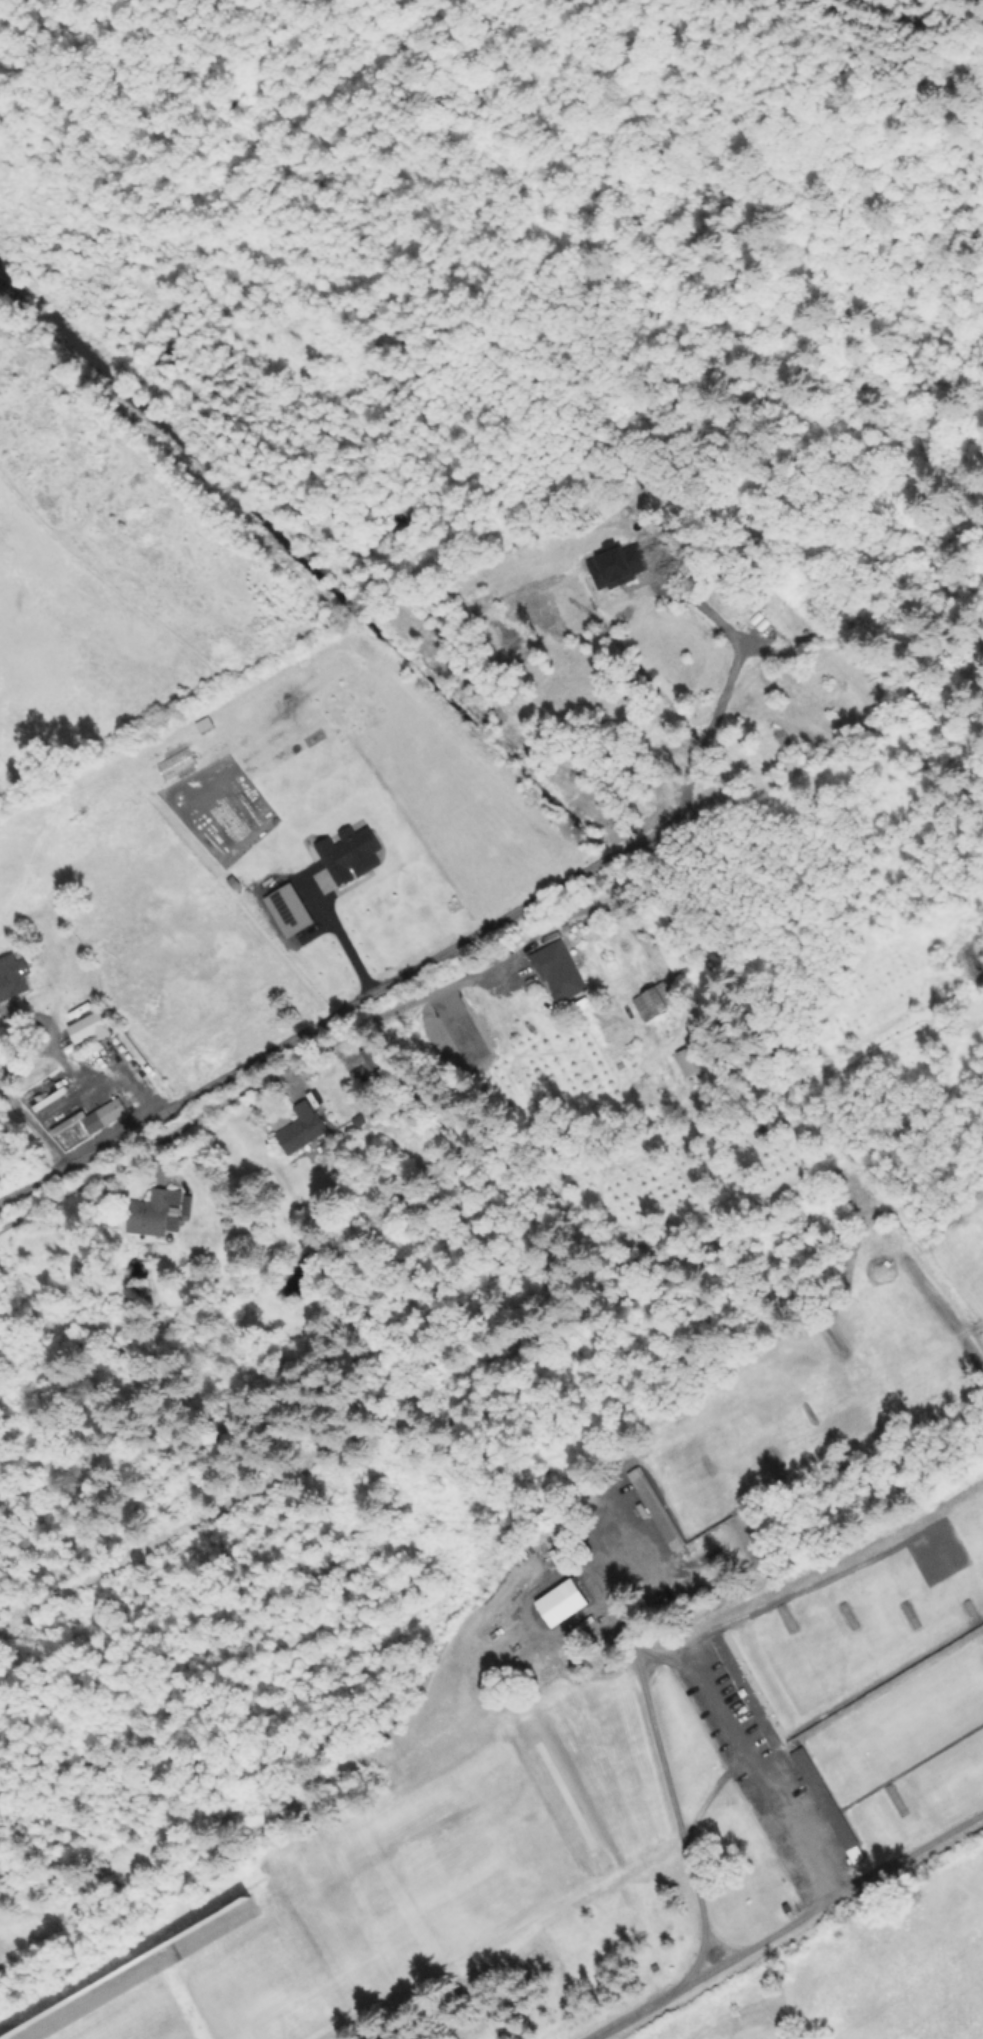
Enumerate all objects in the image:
road: (724, 697)
building: (560, 937)
road: (343, 946)
building: (674, 955)
building: (12, 978)
building: (562, 978)
building: (656, 1006)
road: (339, 1040)
building: (374, 1057)
road: (62, 1058)
building: (690, 1061)
road: (132, 1082)
building: (362, 1120)
building: (95, 1123)
building: (303, 1128)
building: (188, 1205)
building: (156, 1212)
building: (653, 1509)
building: (639, 1521)
road: (603, 1583)
building: (560, 1604)
road: (648, 1662)
building: (825, 1799)
road: (786, 1928)

